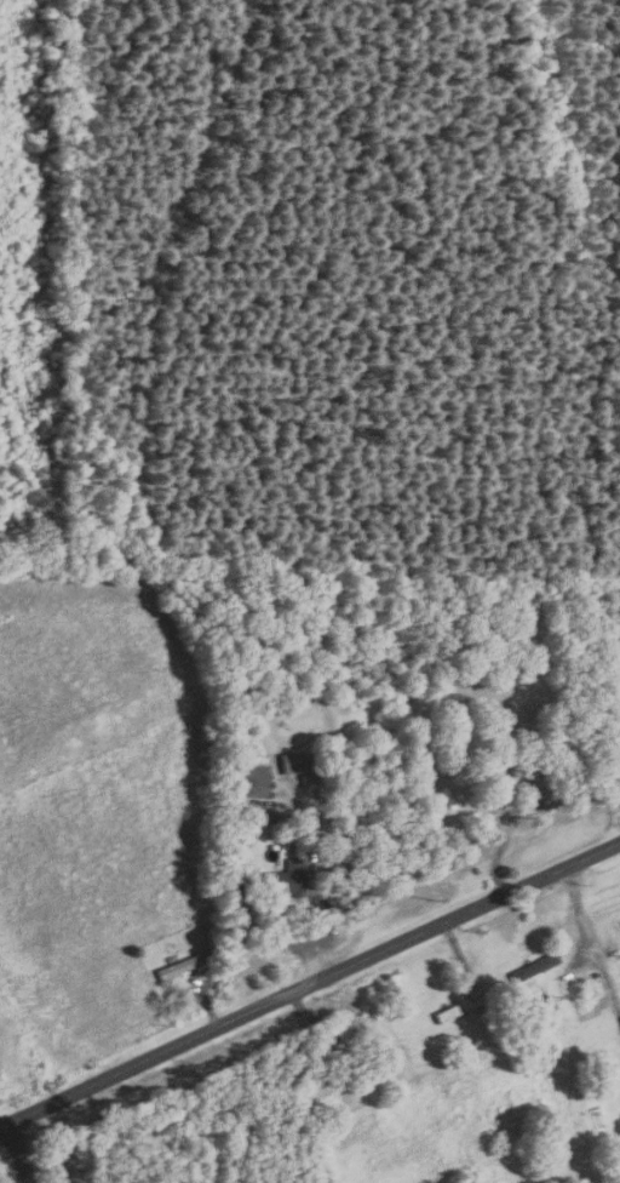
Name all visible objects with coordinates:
building: (558, 744)
building: (291, 762)
building: (509, 776)
building: (251, 781)
road: (505, 844)
building: (236, 857)
building: (285, 879)
power tower: (436, 902)
road: (312, 909)
road: (587, 937)
road: (458, 954)
building: (179, 966)
building: (534, 967)
road: (308, 985)
power tower: (219, 1000)
road: (208, 1005)
building: (459, 1007)
building: (318, 1048)
building: (331, 1081)
road: (1, 1128)
road: (17, 1155)

